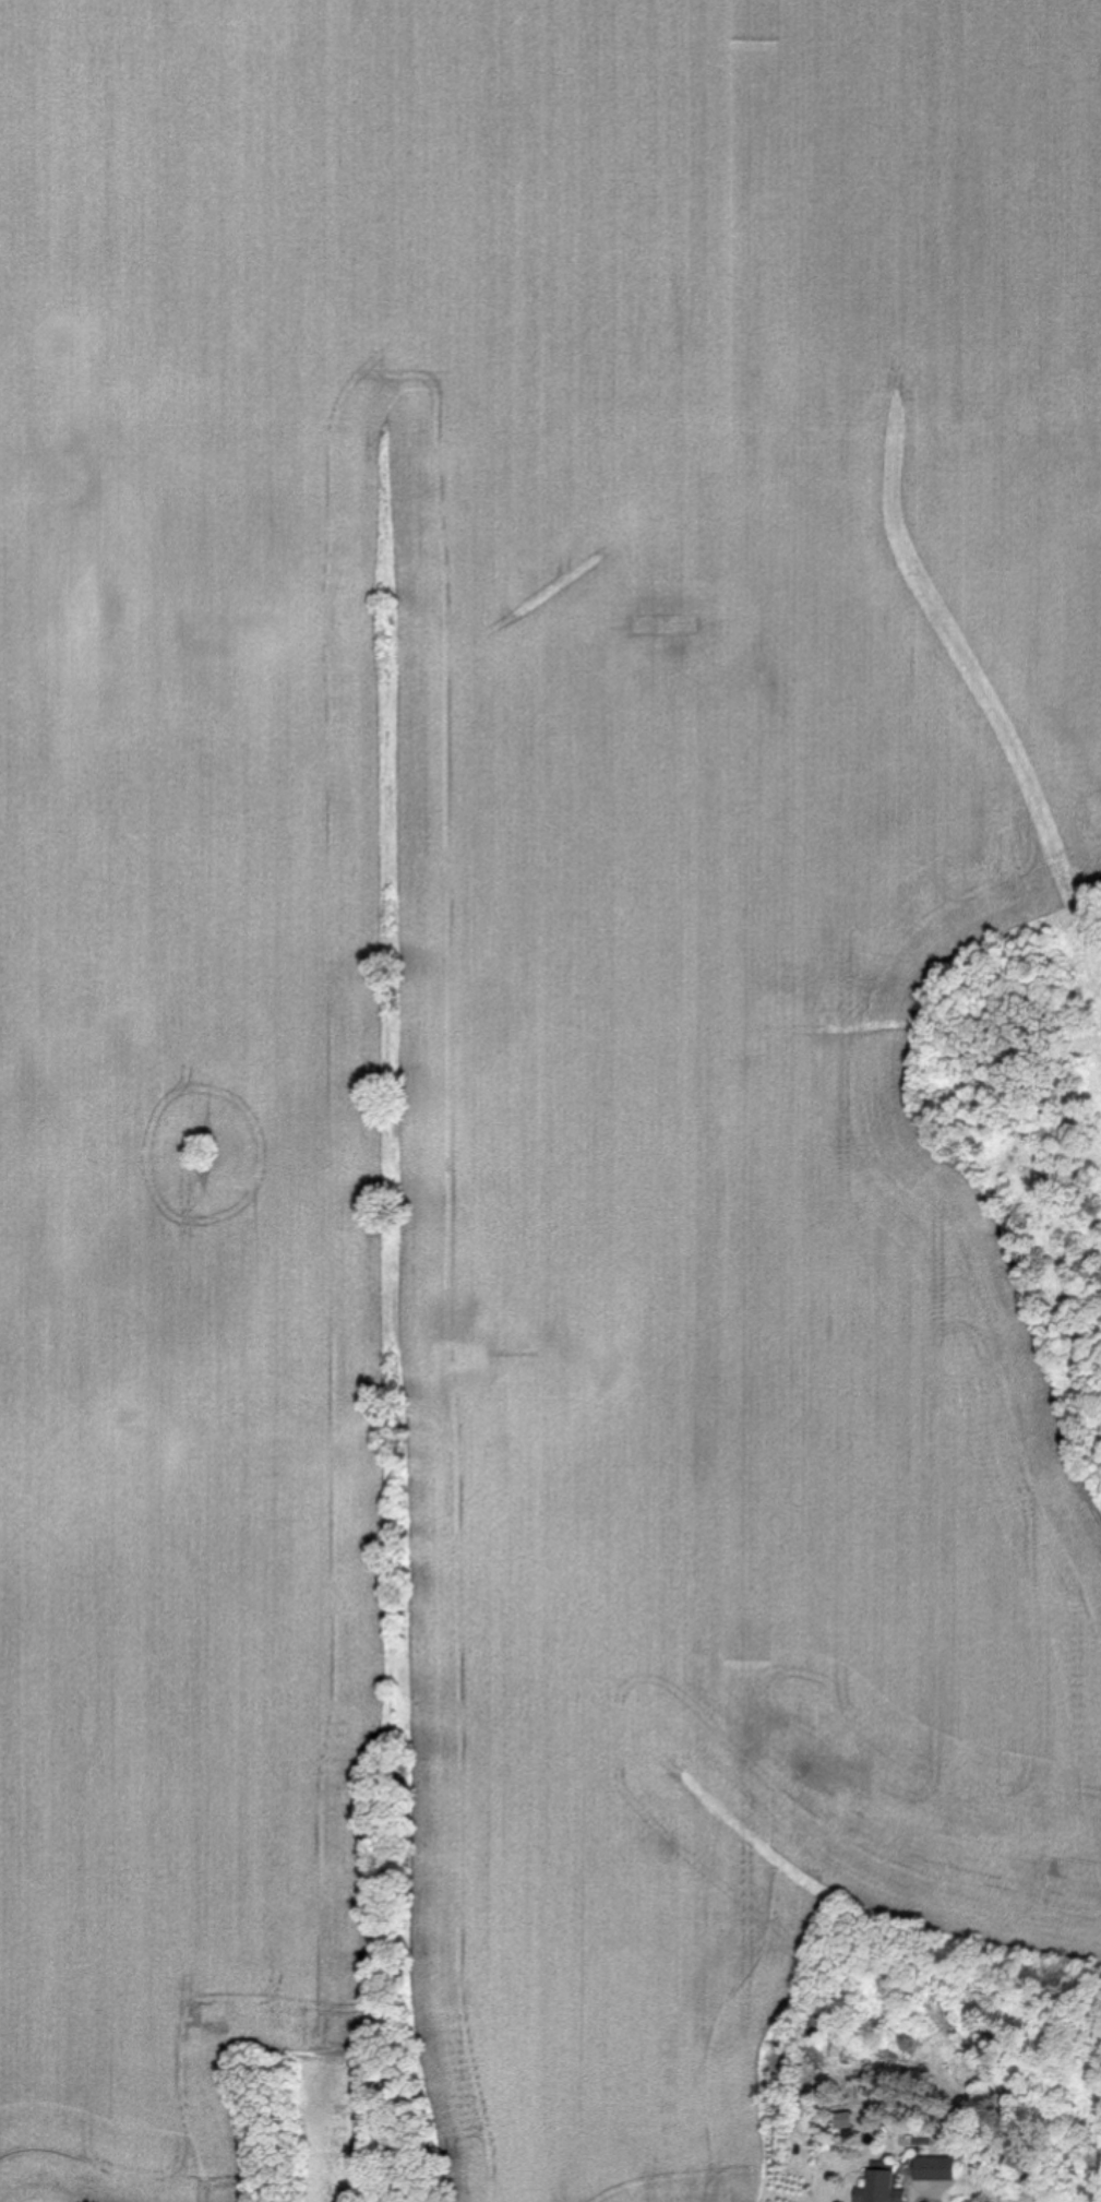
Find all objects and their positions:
building: (935, 2168)
building: (881, 2186)

